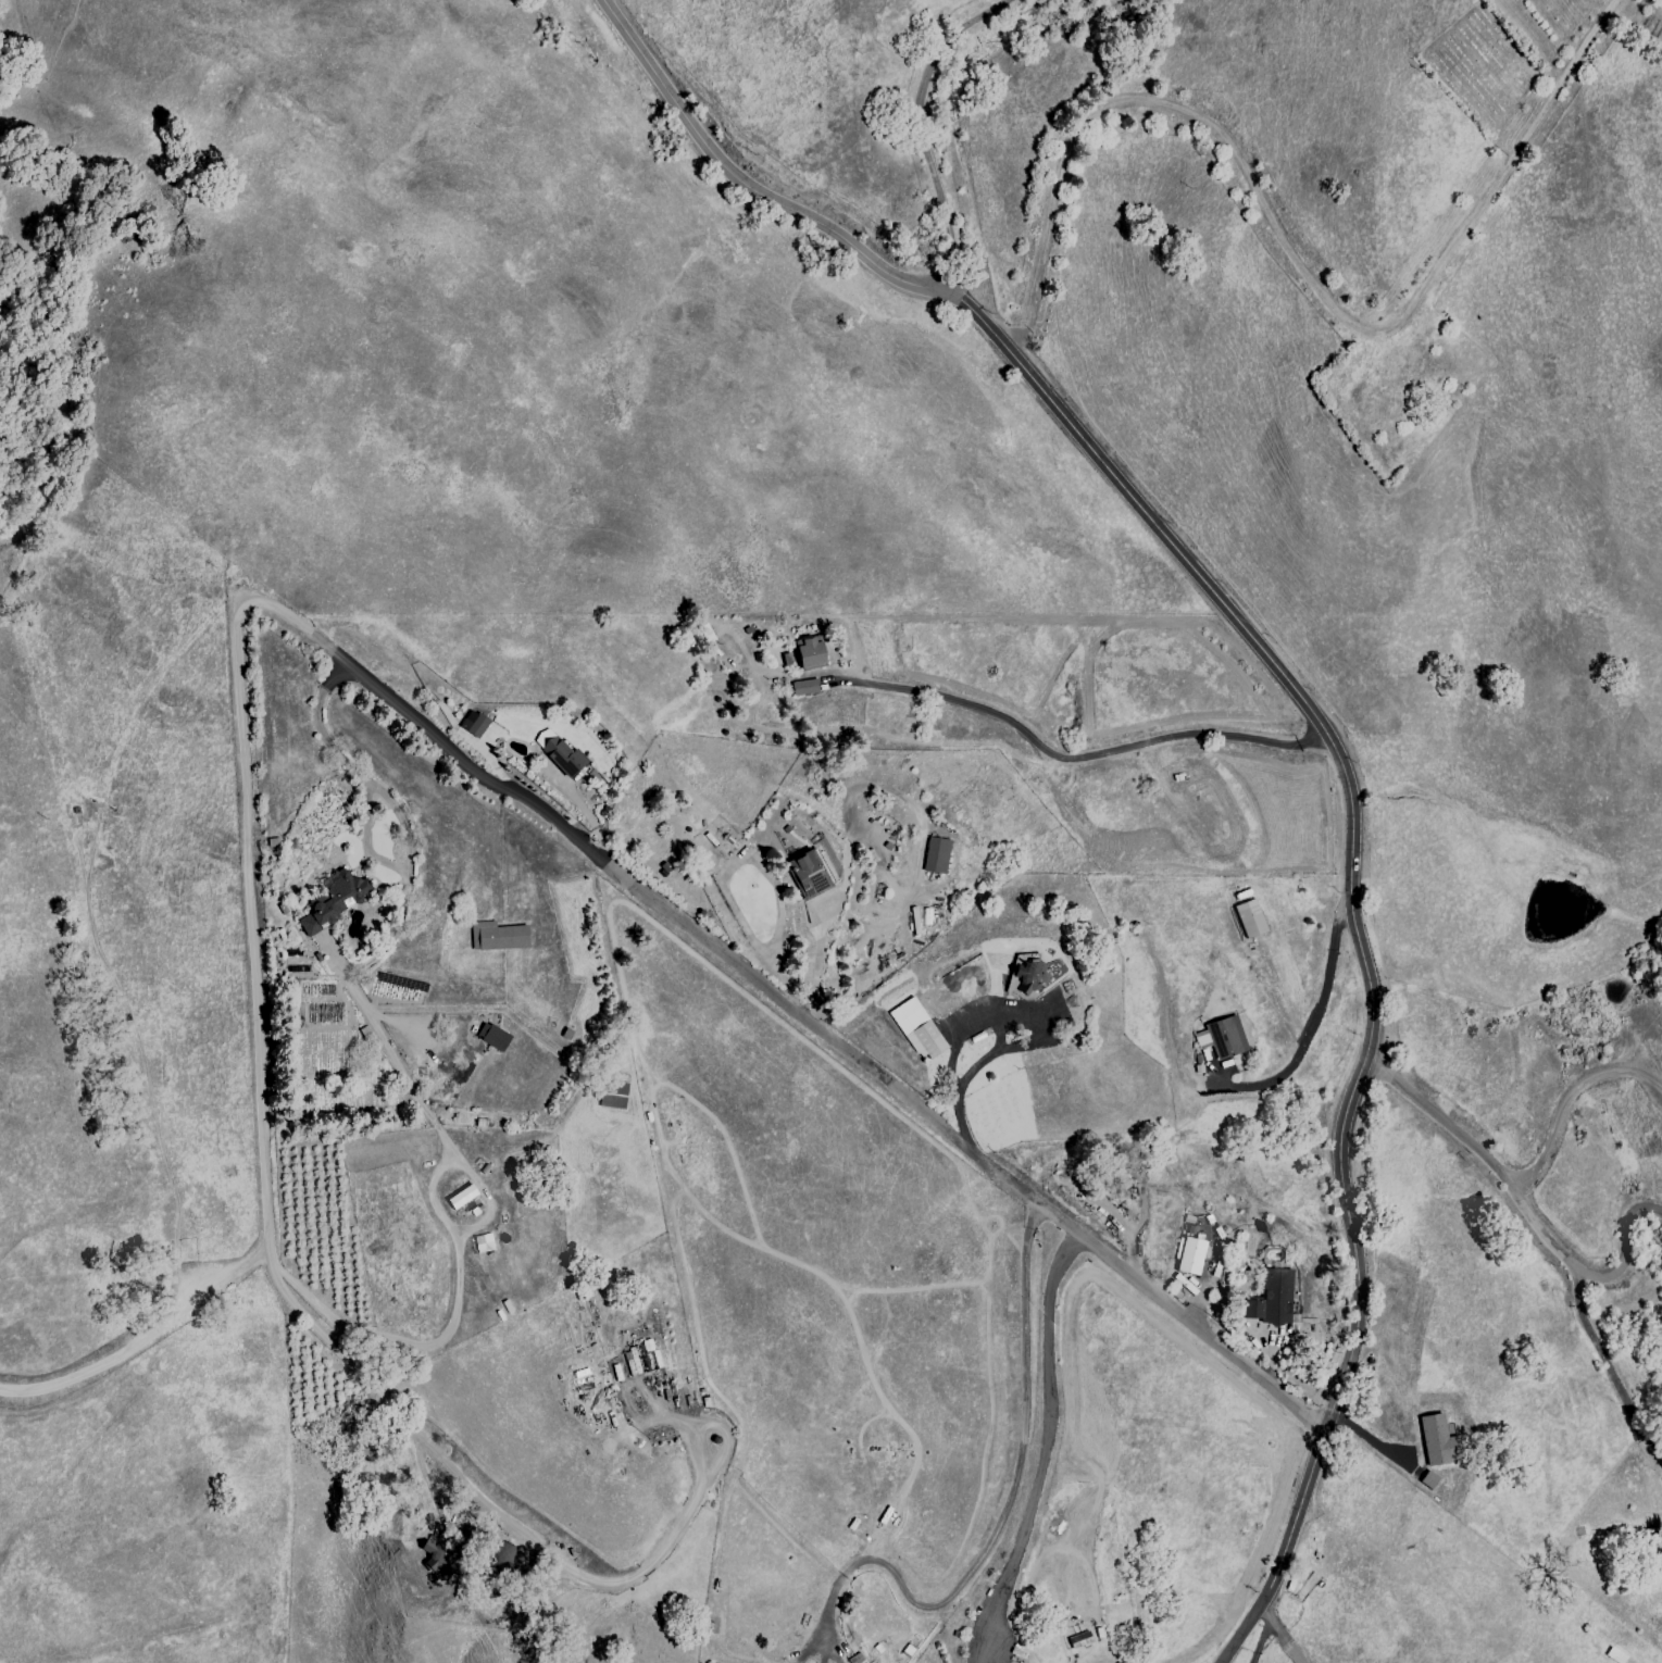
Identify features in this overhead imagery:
road: (912, 125)
road: (743, 185)
road: (1289, 254)
building: (807, 653)
building: (803, 687)
road: (405, 715)
building: (473, 723)
building: (560, 752)
road: (1090, 754)
road: (354, 771)
building: (935, 855)
road: (1334, 861)
road: (403, 895)
building: (334, 898)
building: (1249, 917)
building: (497, 935)
building: (1029, 975)
road: (974, 1026)
road: (1298, 1026)
building: (492, 1036)
building: (1224, 1036)
road: (1566, 1098)
building: (461, 1196)
road: (1525, 1202)
building: (483, 1241)
road: (1607, 1363)
building: (1437, 1440)
road: (1045, 1451)
building: (1427, 1479)
road: (477, 1499)
road: (999, 1526)
road: (1259, 1610)
road: (1280, 1635)
road: (1260, 1641)

